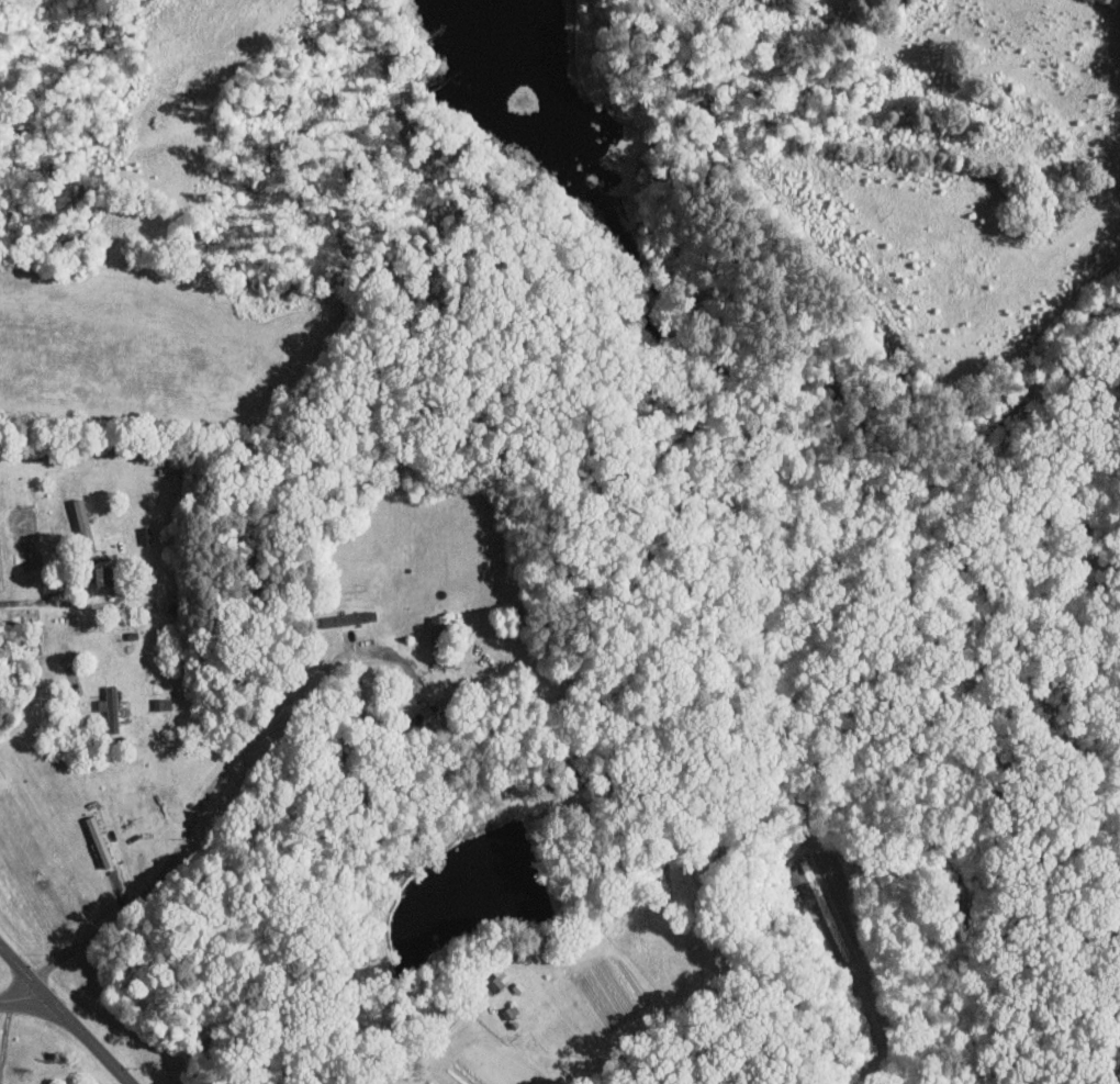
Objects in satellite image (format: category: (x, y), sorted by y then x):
building: (101, 575)
road: (27, 597)
building: (340, 618)
building: (437, 628)
road: (40, 658)
building: (111, 708)
road: (223, 765)
building: (98, 840)
road: (20, 997)
road: (61, 1016)
road: (4, 1026)

